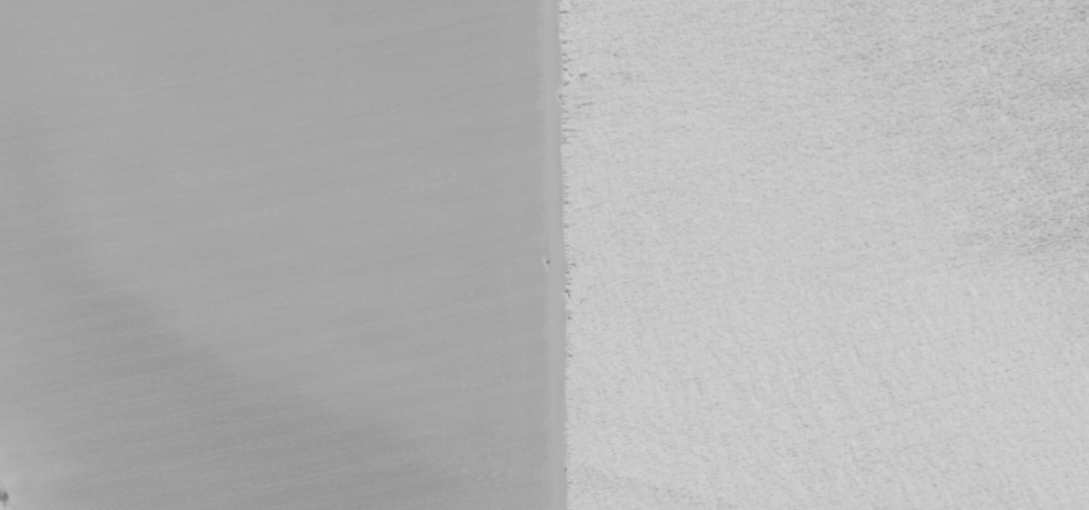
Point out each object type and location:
road: (547, 255)

